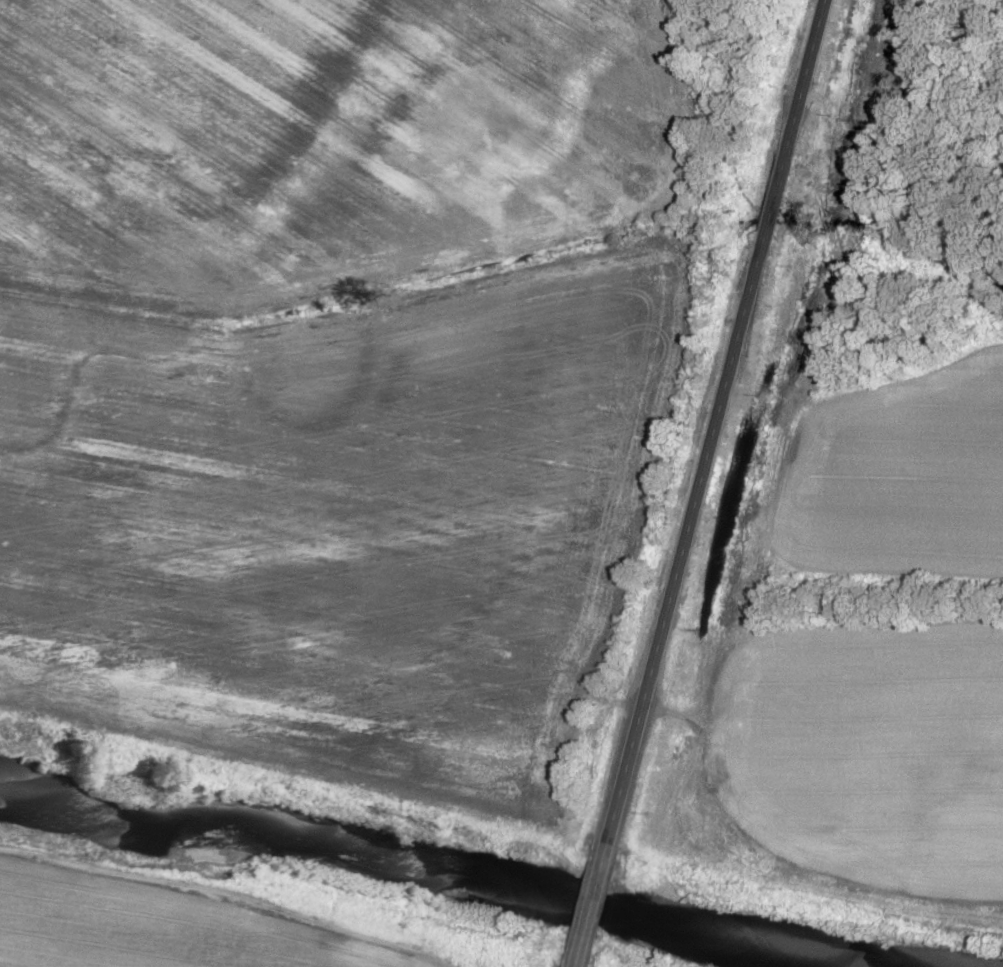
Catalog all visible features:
road: (717, 423)
river: (467, 869)
road: (591, 906)

